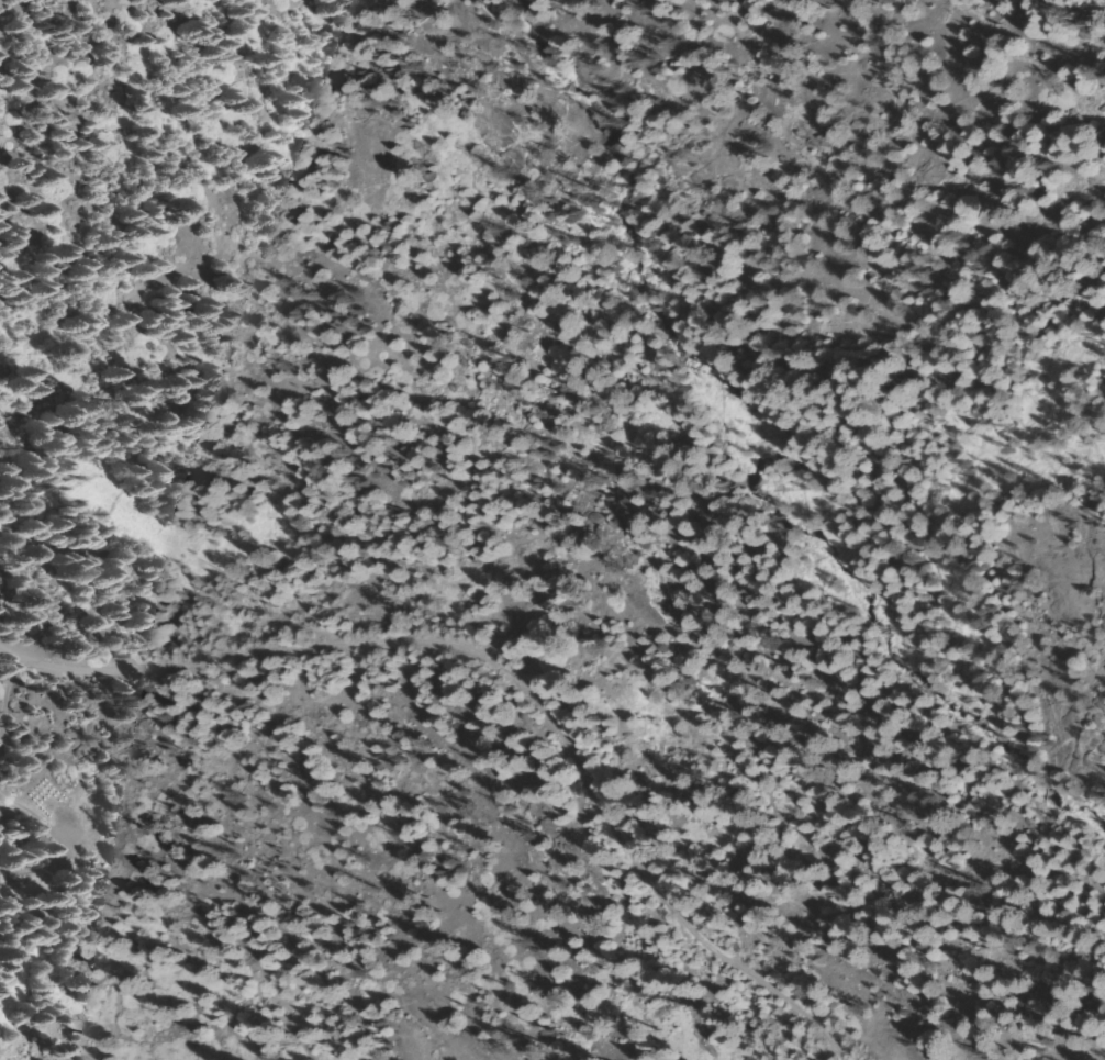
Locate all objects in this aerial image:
road: (476, 685)

